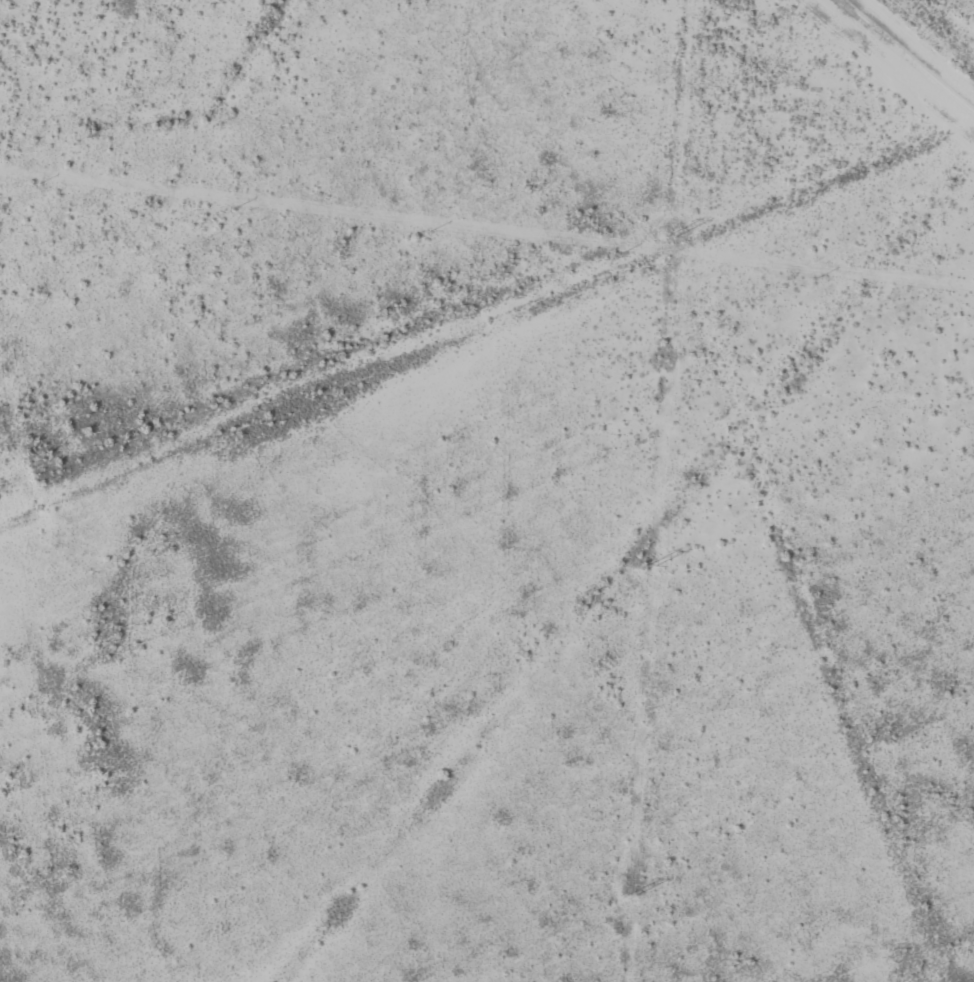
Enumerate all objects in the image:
road: (904, 56)
road: (972, 116)
power tower: (671, 237)
road: (488, 324)
power tower: (651, 566)
power tower: (632, 896)

